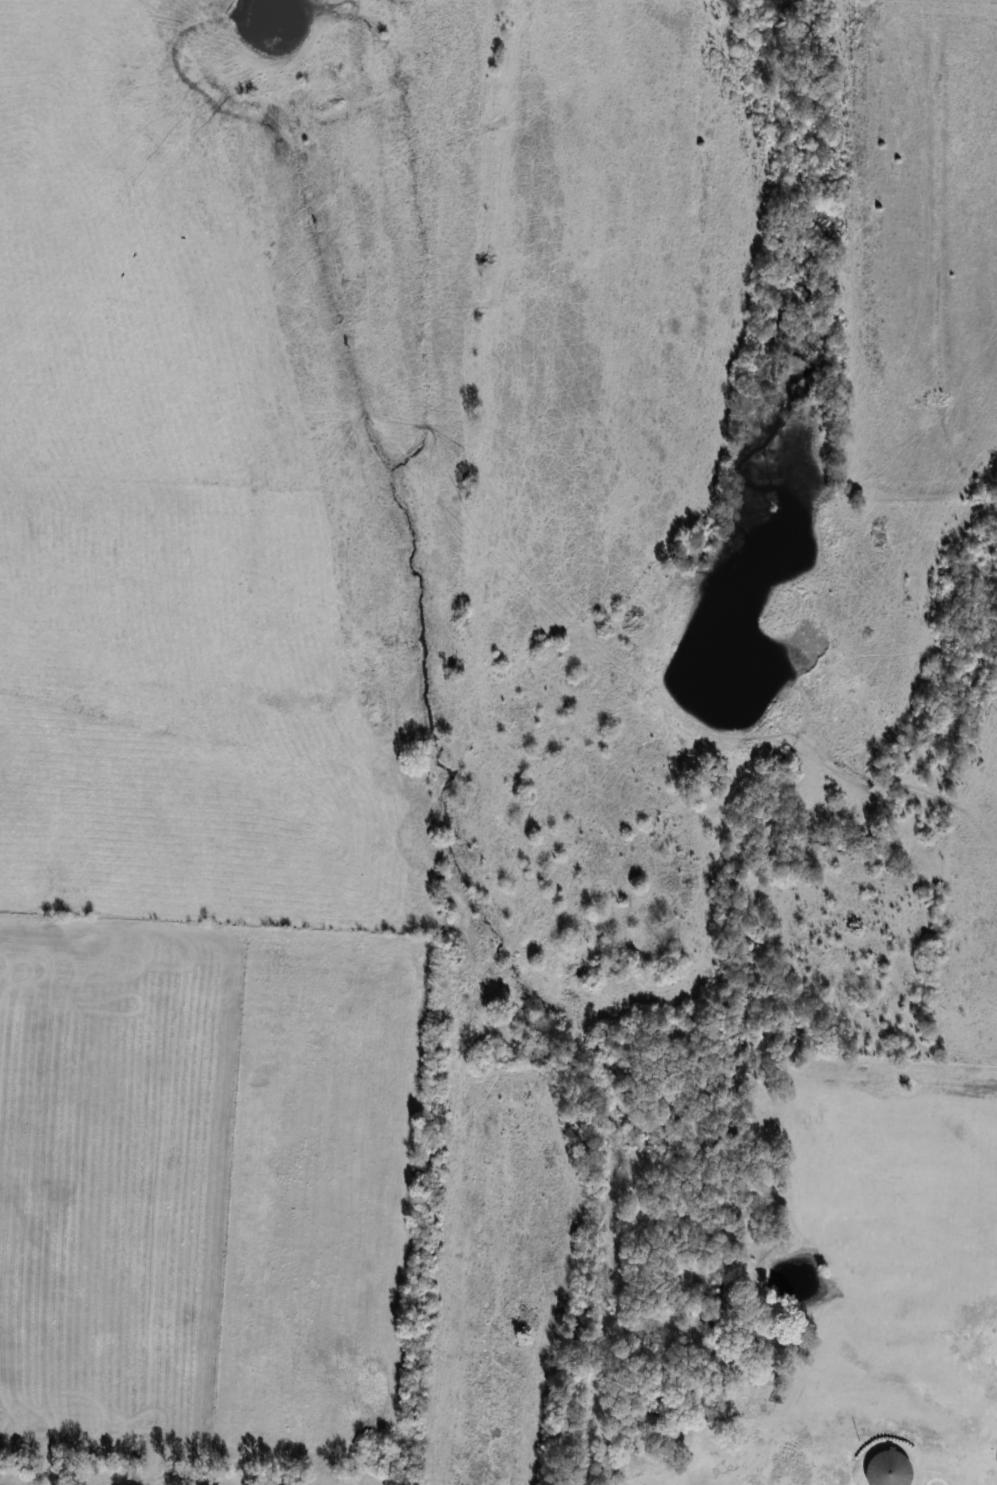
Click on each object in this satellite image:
building: (891, 1467)

